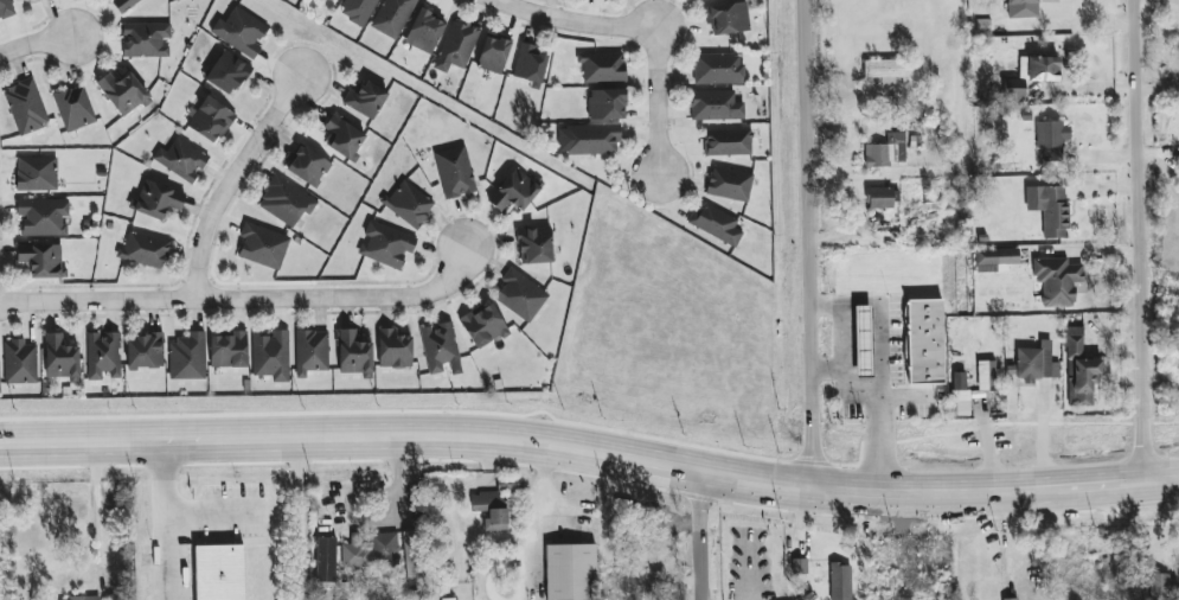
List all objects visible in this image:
building: (699, 0)
building: (123, 5)
building: (6, 8)
building: (1023, 8)
building: (358, 11)
building: (392, 17)
building: (728, 18)
road: (575, 20)
building: (241, 32)
building: (424, 32)
road: (38, 39)
building: (146, 39)
building: (456, 46)
building: (493, 55)
building: (530, 63)
building: (603, 68)
building: (718, 69)
building: (1039, 69)
building: (886, 70)
building: (228, 72)
building: (1013, 89)
building: (123, 92)
building: (365, 100)
road: (658, 100)
building: (607, 104)
building: (715, 106)
building: (25, 107)
building: (73, 108)
building: (211, 120)
building: (344, 136)
building: (1052, 138)
building: (592, 139)
building: (728, 142)
building: (886, 151)
building: (181, 160)
building: (308, 166)
building: (455, 173)
building: (37, 174)
road: (236, 180)
building: (729, 184)
building: (514, 191)
building: (883, 197)
building: (156, 200)
building: (931, 200)
building: (286, 202)
building: (409, 204)
building: (1050, 209)
building: (44, 217)
building: (716, 224)
road: (1146, 240)
road: (814, 243)
building: (386, 244)
building: (263, 245)
building: (534, 245)
building: (143, 250)
road: (1088, 254)
building: (994, 258)
building: (41, 260)
building: (1057, 281)
building: (520, 295)
road: (244, 298)
building: (483, 325)
road: (840, 325)
road: (878, 331)
building: (863, 340)
building: (924, 342)
building: (440, 347)
building: (393, 349)
building: (229, 350)
building: (145, 351)
building: (310, 352)
building: (354, 355)
building: (103, 356)
building: (271, 356)
building: (188, 357)
building: (62, 358)
building: (19, 362)
building: (1036, 363)
building: (1079, 370)
building: (986, 376)
building: (960, 394)
road: (901, 396)
road: (878, 406)
road: (352, 430)
road: (940, 490)
road: (224, 500)
road: (101, 511)
road: (296, 516)
road: (544, 516)
road: (704, 531)
building: (371, 551)
building: (412, 554)
building: (326, 560)
building: (799, 566)
building: (219, 572)
building: (570, 572)
building: (840, 581)
building: (1164, 587)
building: (96, 599)
building: (237, 599)
building: (453, 599)
building: (1015, 599)

